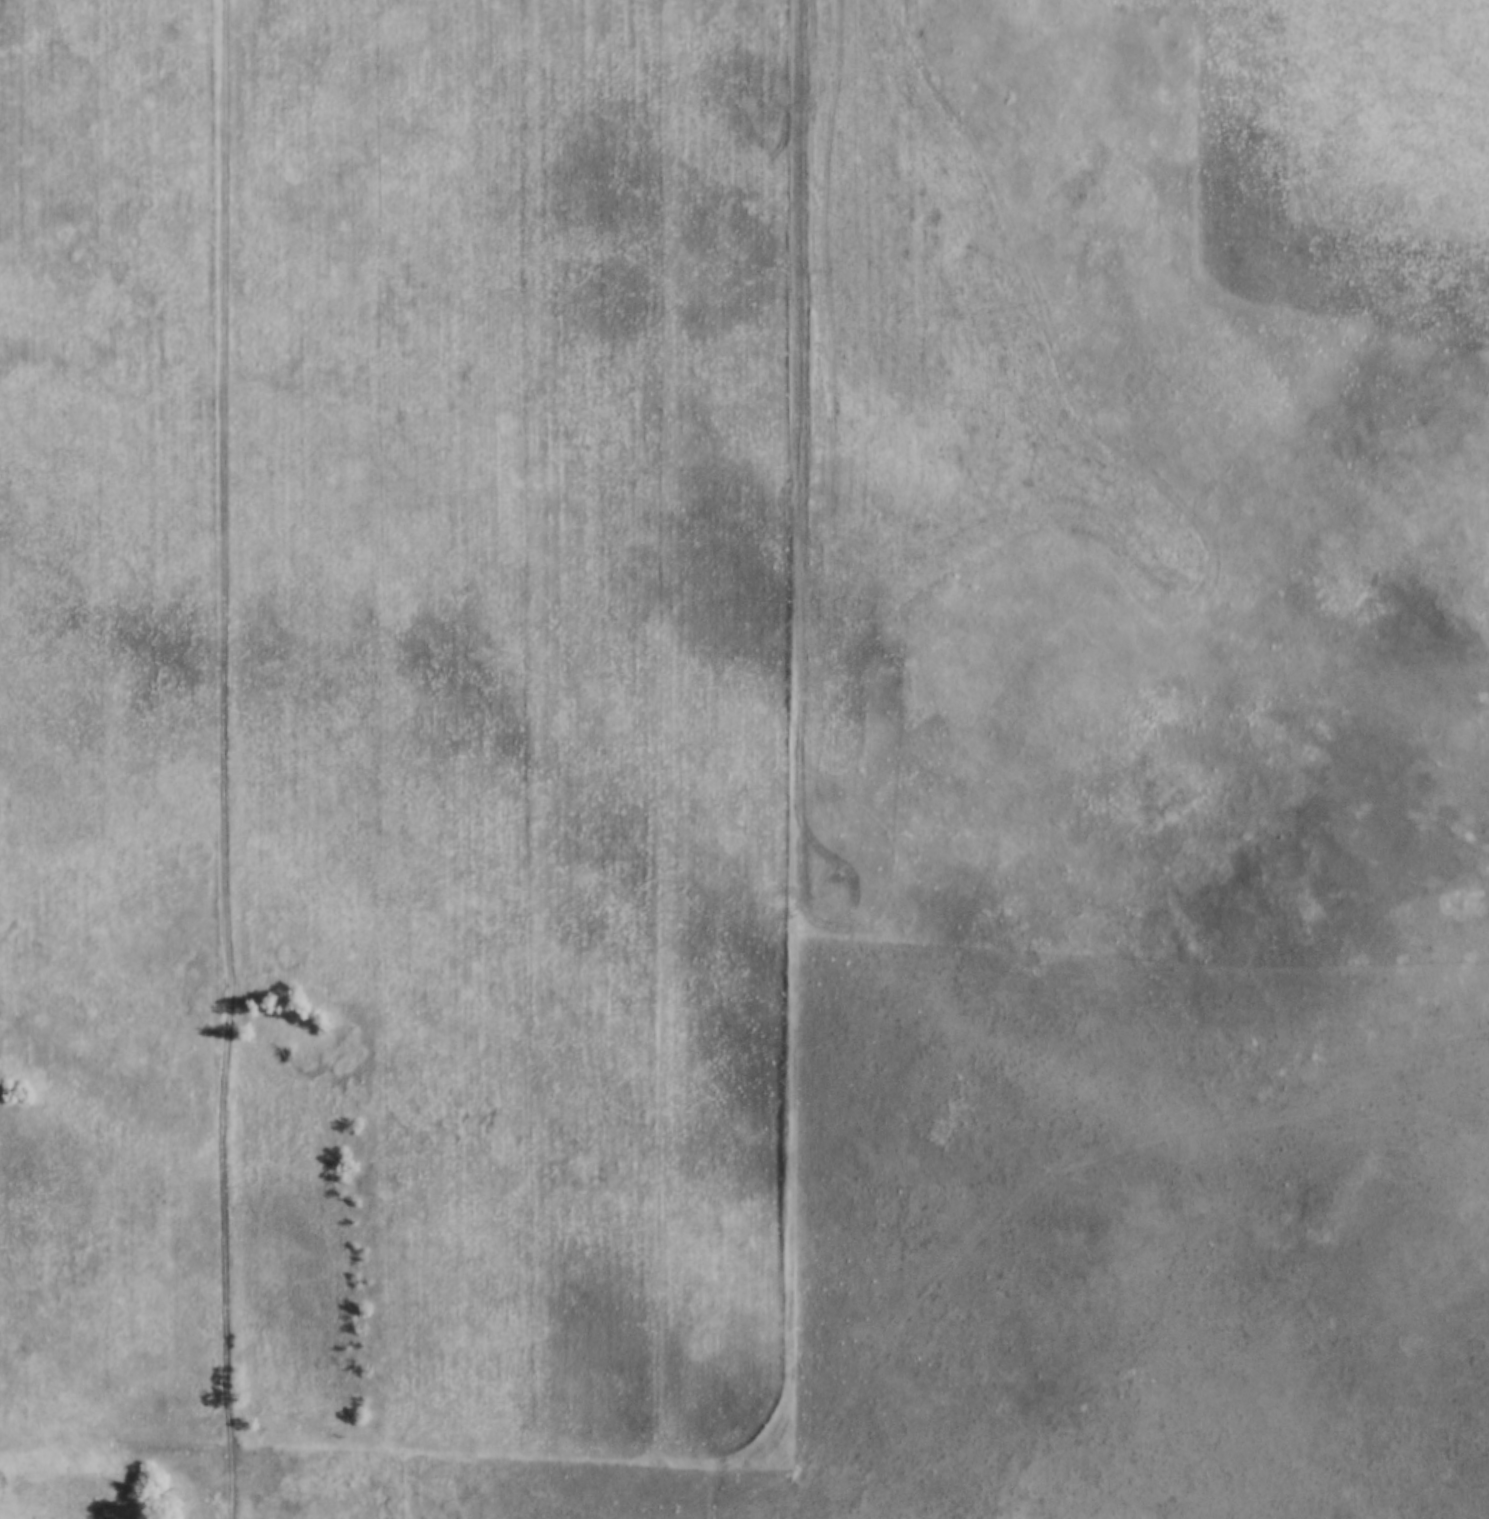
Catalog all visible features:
road: (225, 800)

